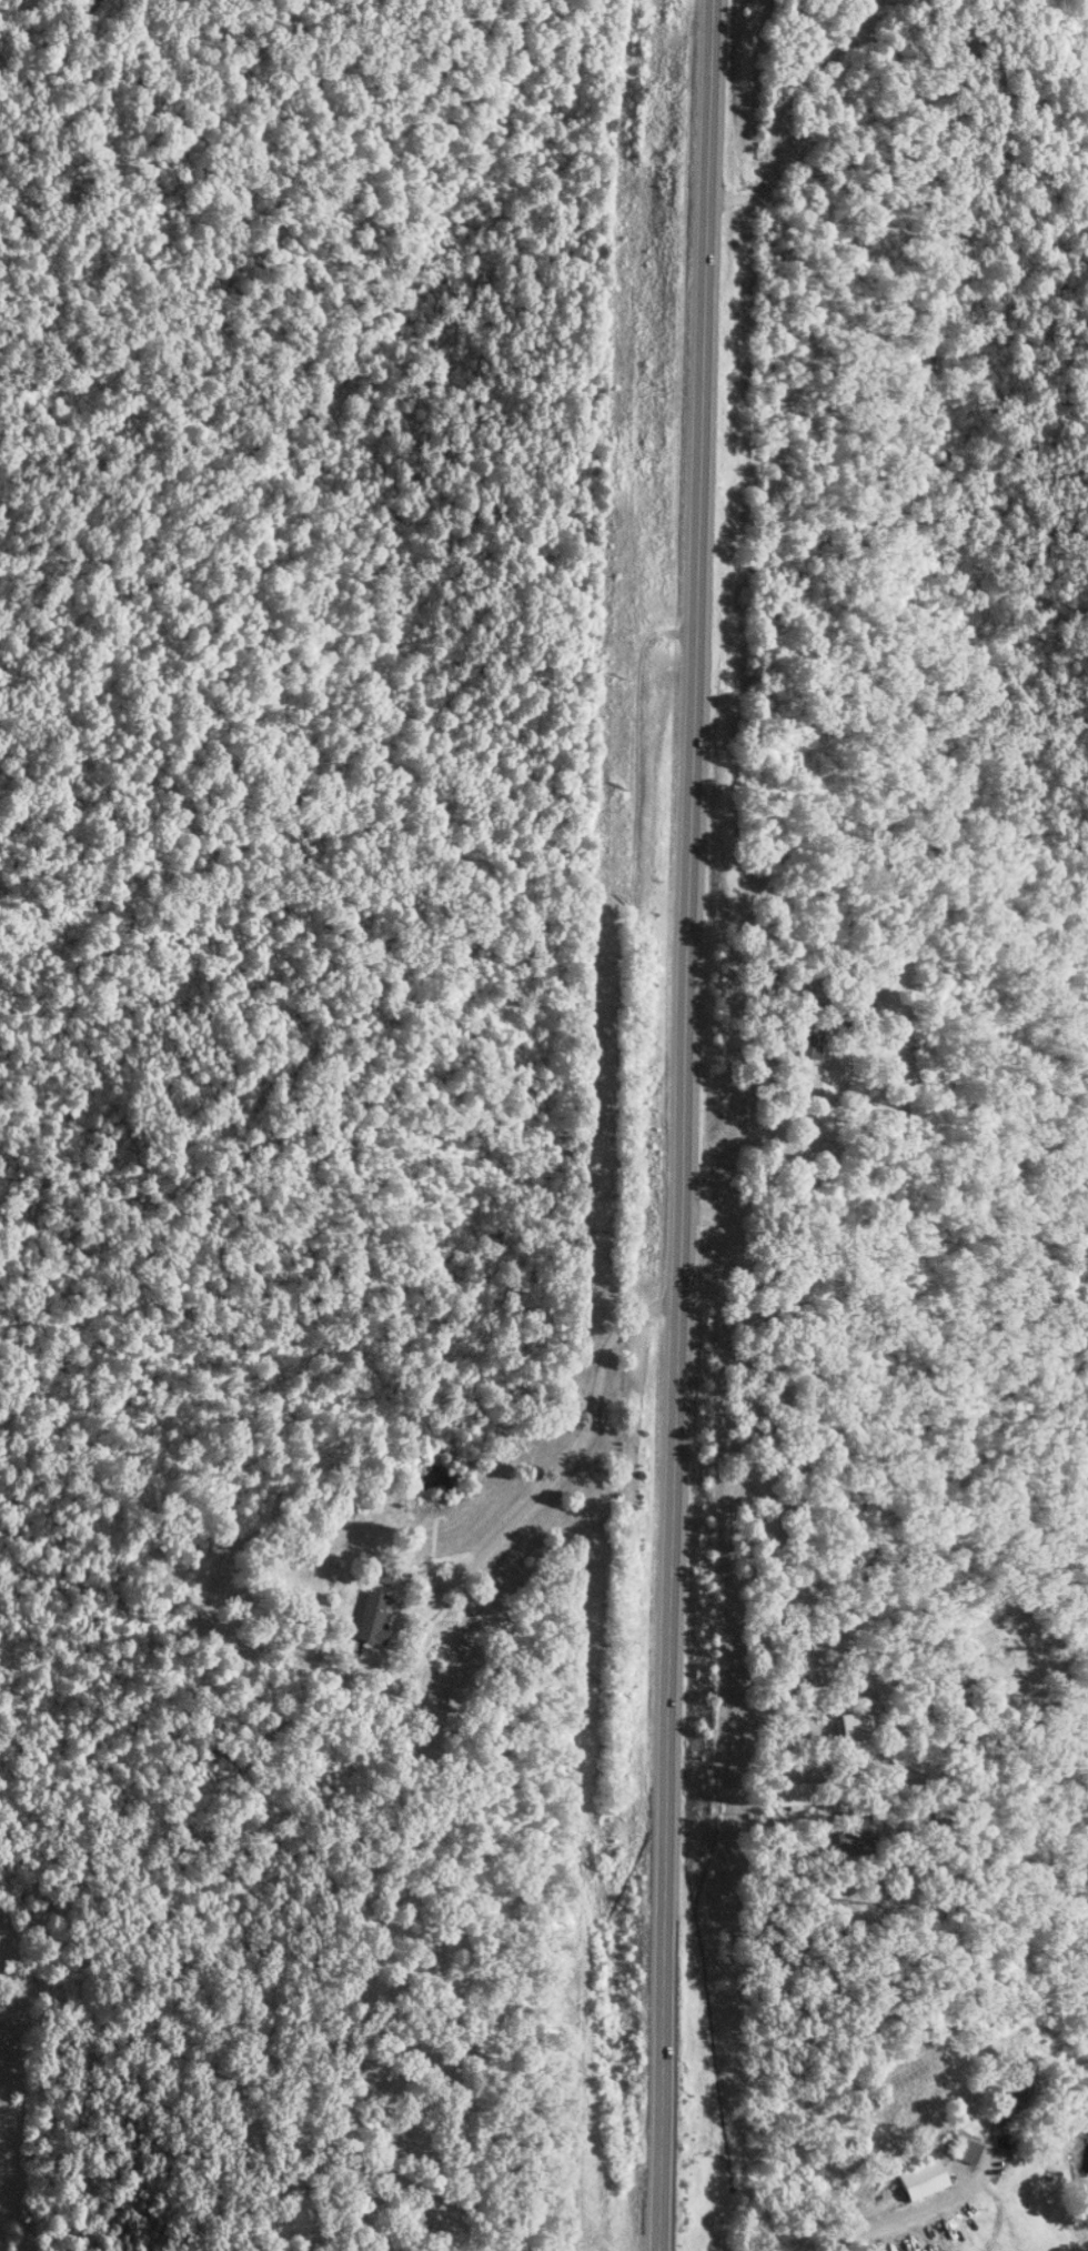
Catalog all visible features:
building: (808, 1039)
road: (686, 1125)
building: (371, 1617)
building: (850, 1731)
building: (795, 1793)
building: (856, 1840)
building: (1015, 2091)
building: (967, 2149)
building: (924, 2179)
building: (381, 2244)

